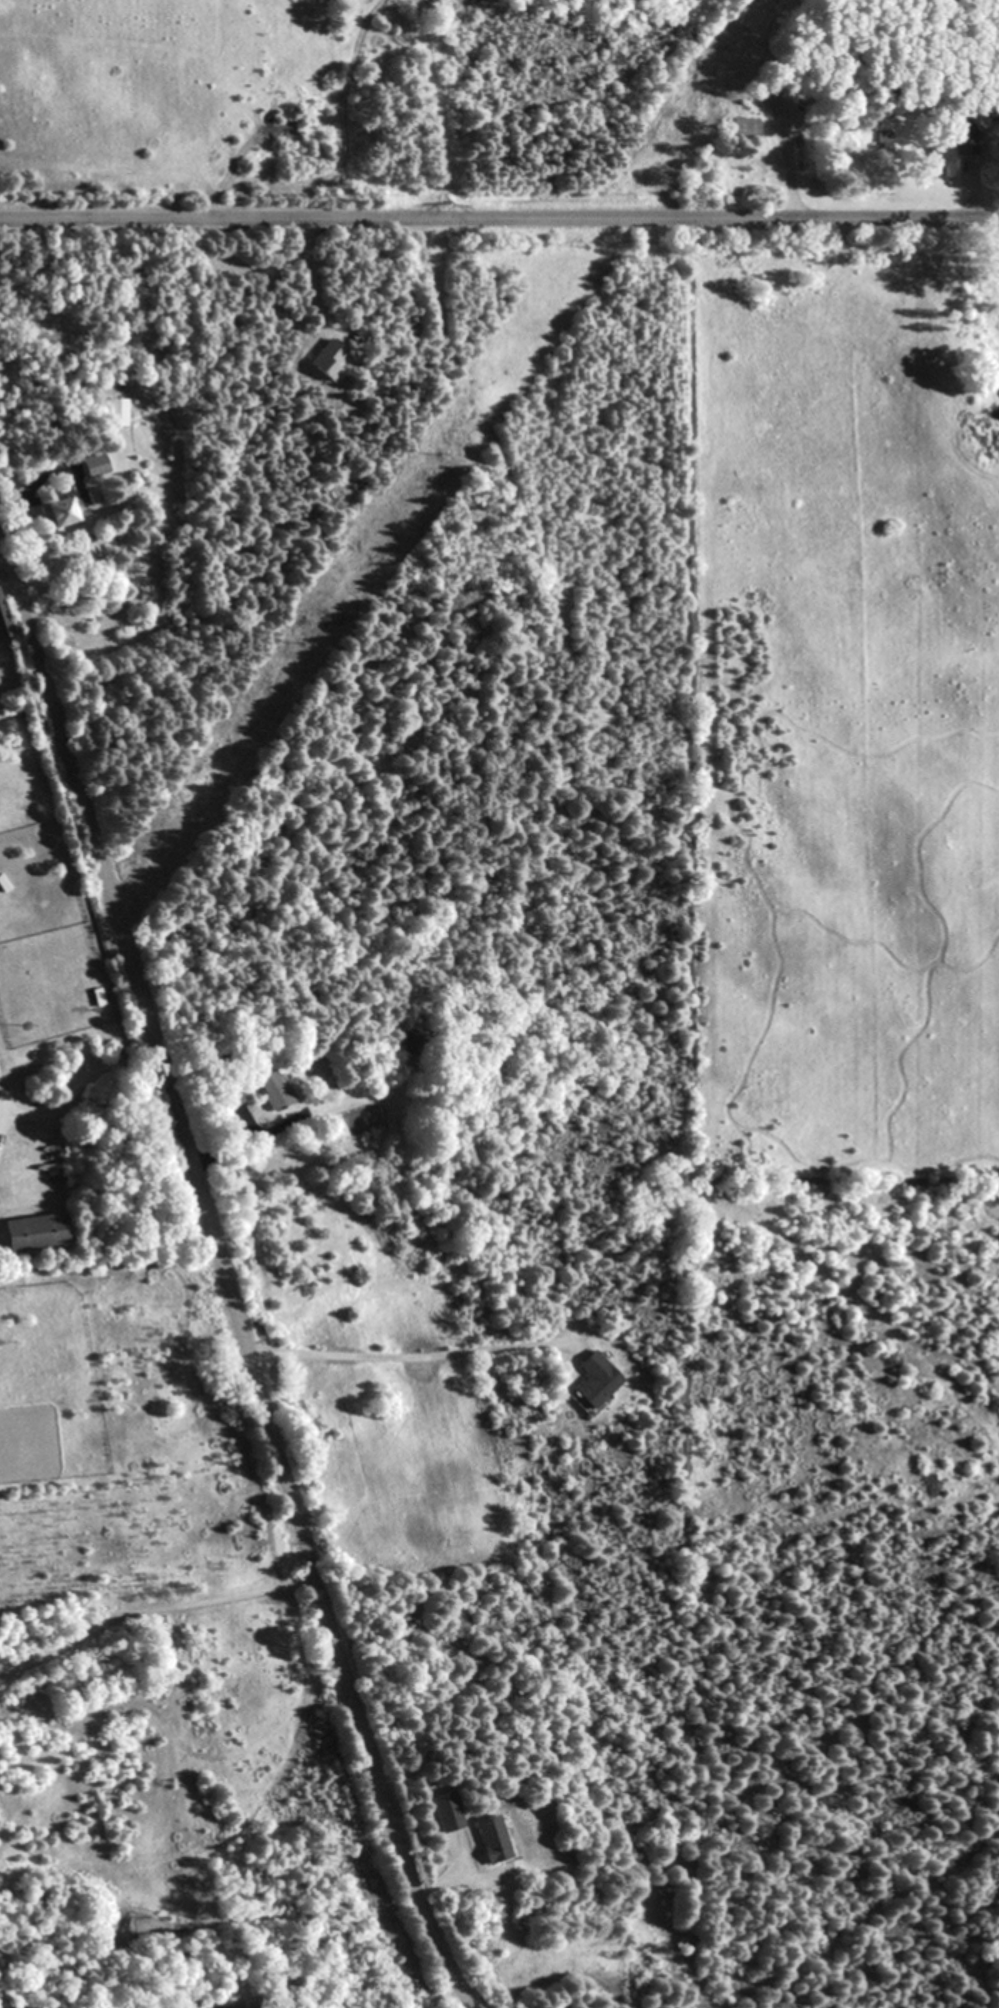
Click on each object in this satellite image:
power tower: (745, 34)
building: (743, 129)
building: (953, 150)
road: (788, 176)
road: (969, 194)
road: (499, 218)
power tower: (592, 244)
building: (116, 412)
power tower: (442, 454)
building: (93, 465)
building: (59, 511)
building: (3, 623)
power tower: (304, 643)
power tower: (170, 832)
power tower: (25, 1026)
building: (415, 1042)
road: (78, 1086)
building: (274, 1089)
road: (3, 1108)
building: (34, 1233)
road: (228, 1287)
road: (408, 1357)
building: (595, 1379)
road: (151, 1608)
building: (444, 1811)
building: (491, 1838)
road: (438, 1884)
building: (236, 2007)

